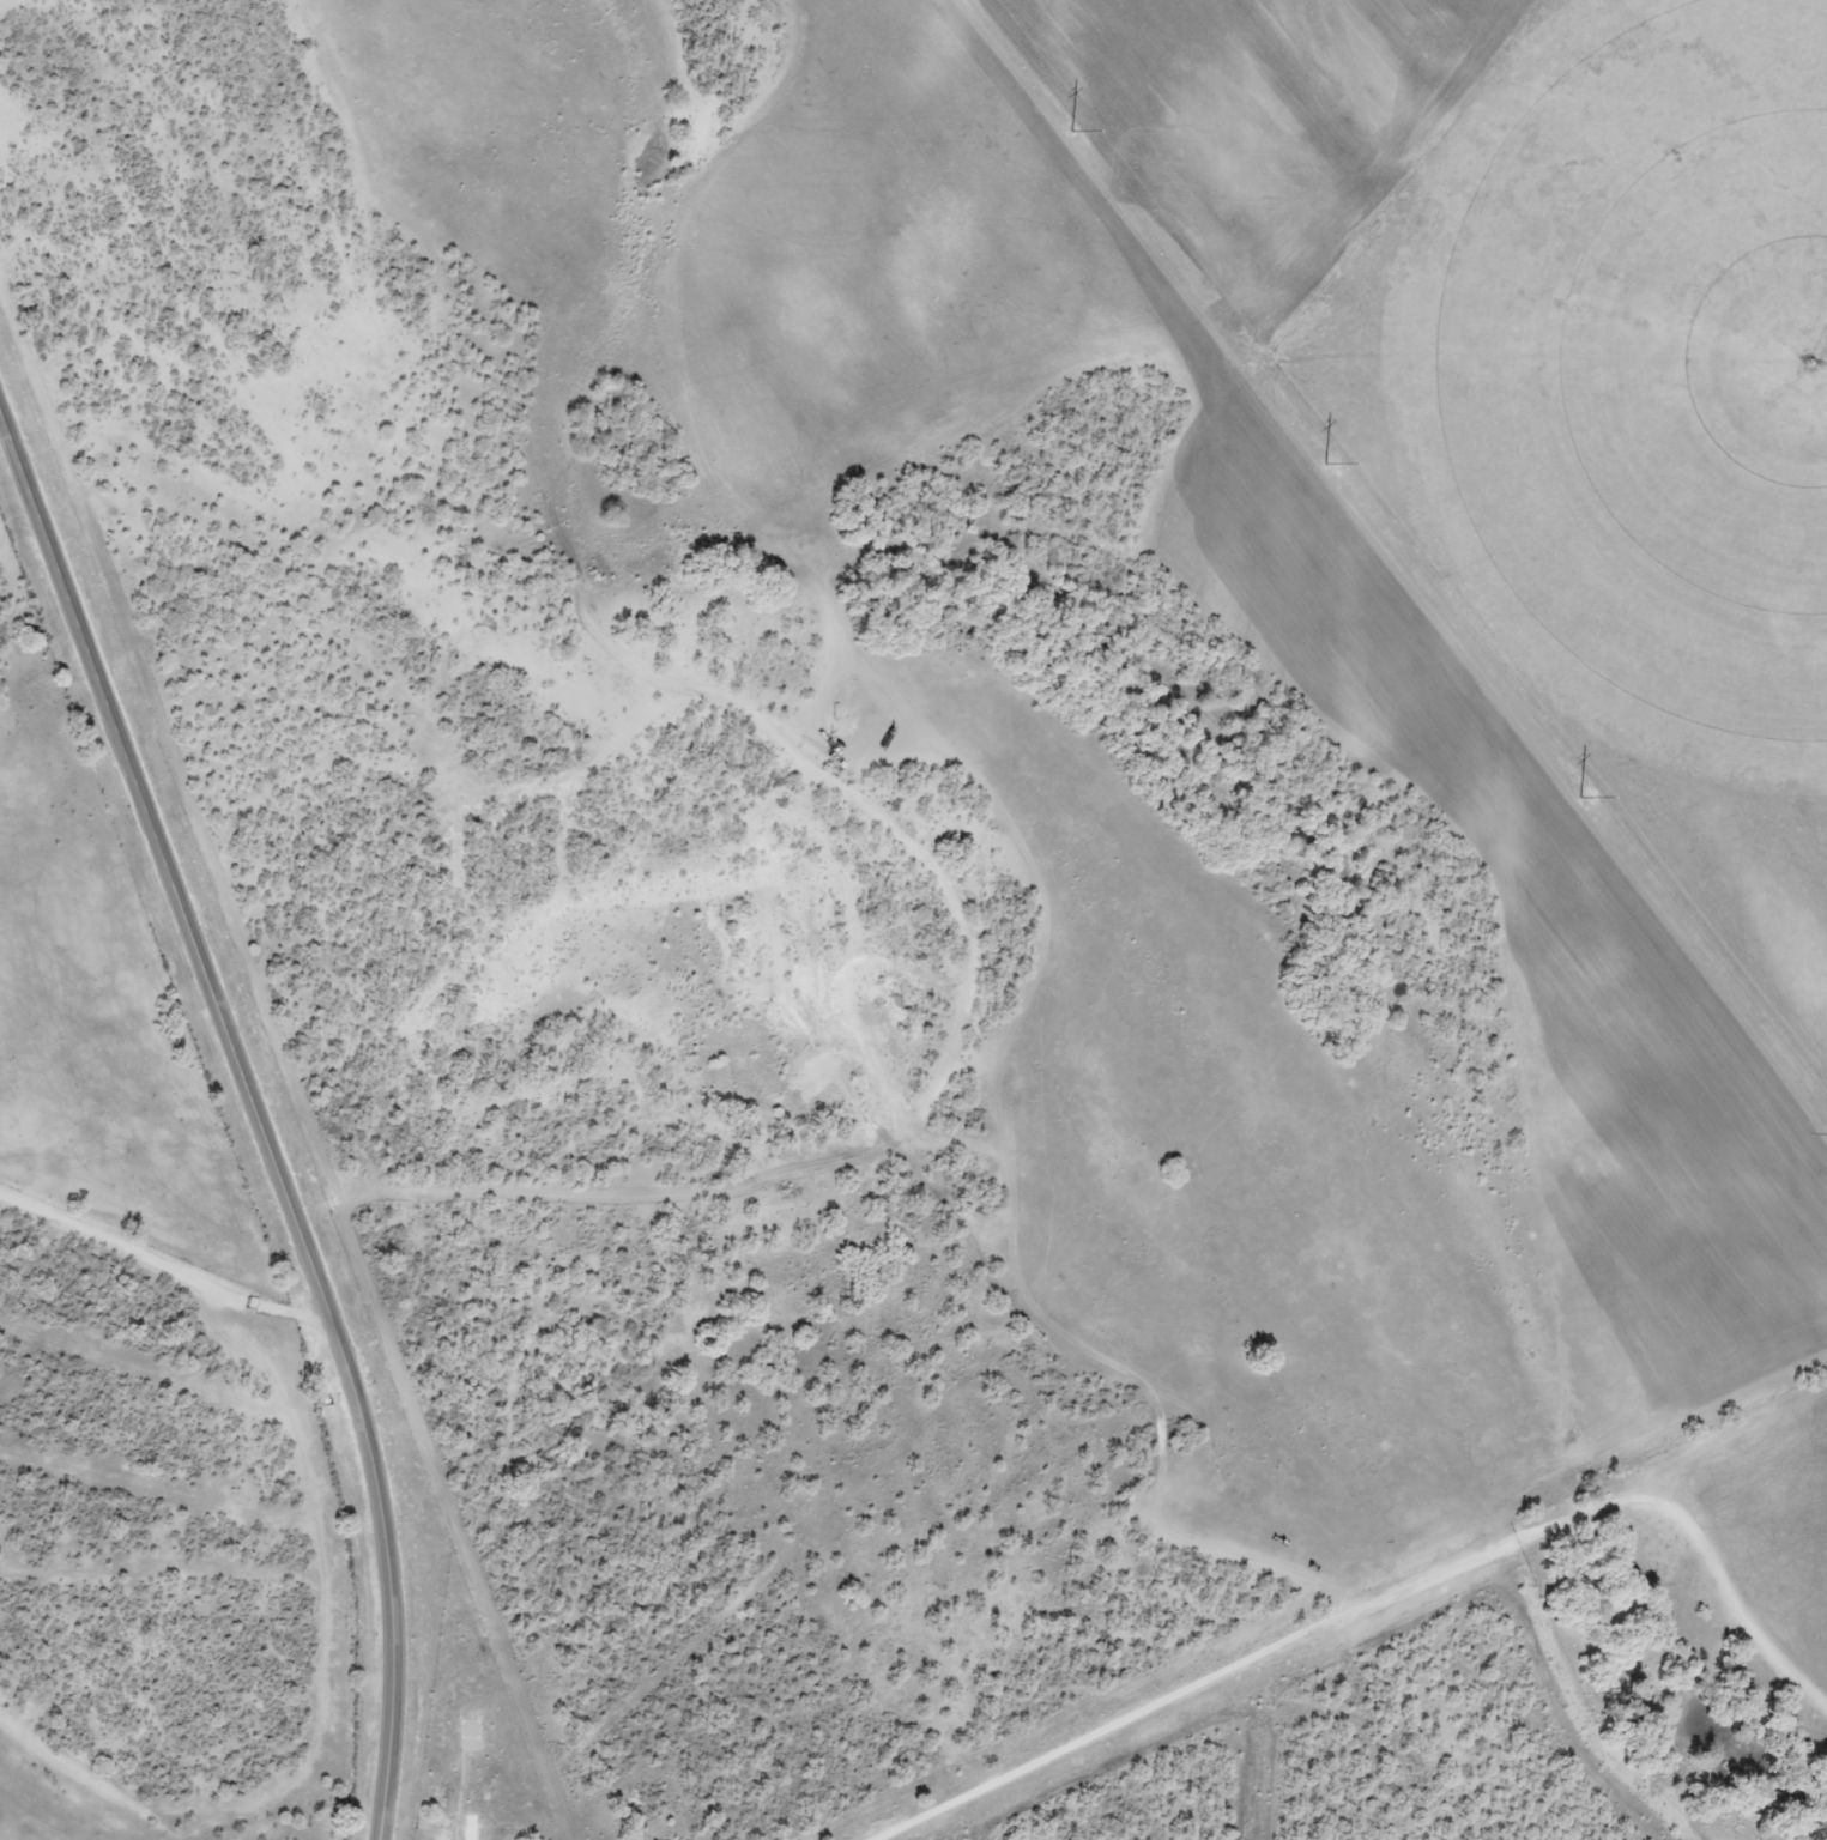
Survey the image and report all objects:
power tower: (1065, 123)
power tower: (1320, 455)
power tower: (1574, 789)
road: (254, 1116)
power tower: (1822, 1122)
road: (159, 1264)
road: (1386, 1602)

